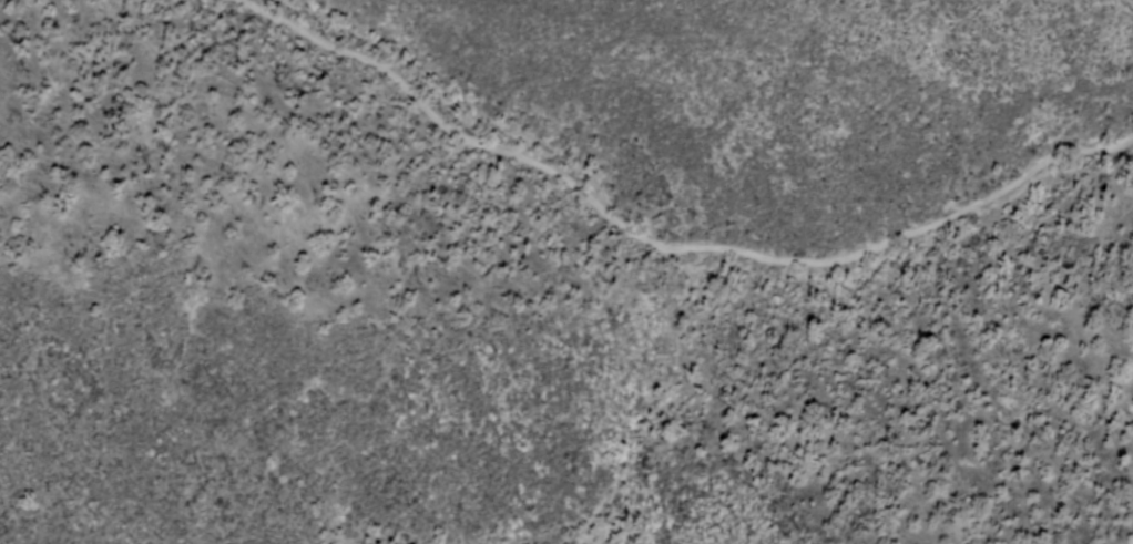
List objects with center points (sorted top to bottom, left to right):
road: (663, 244)

